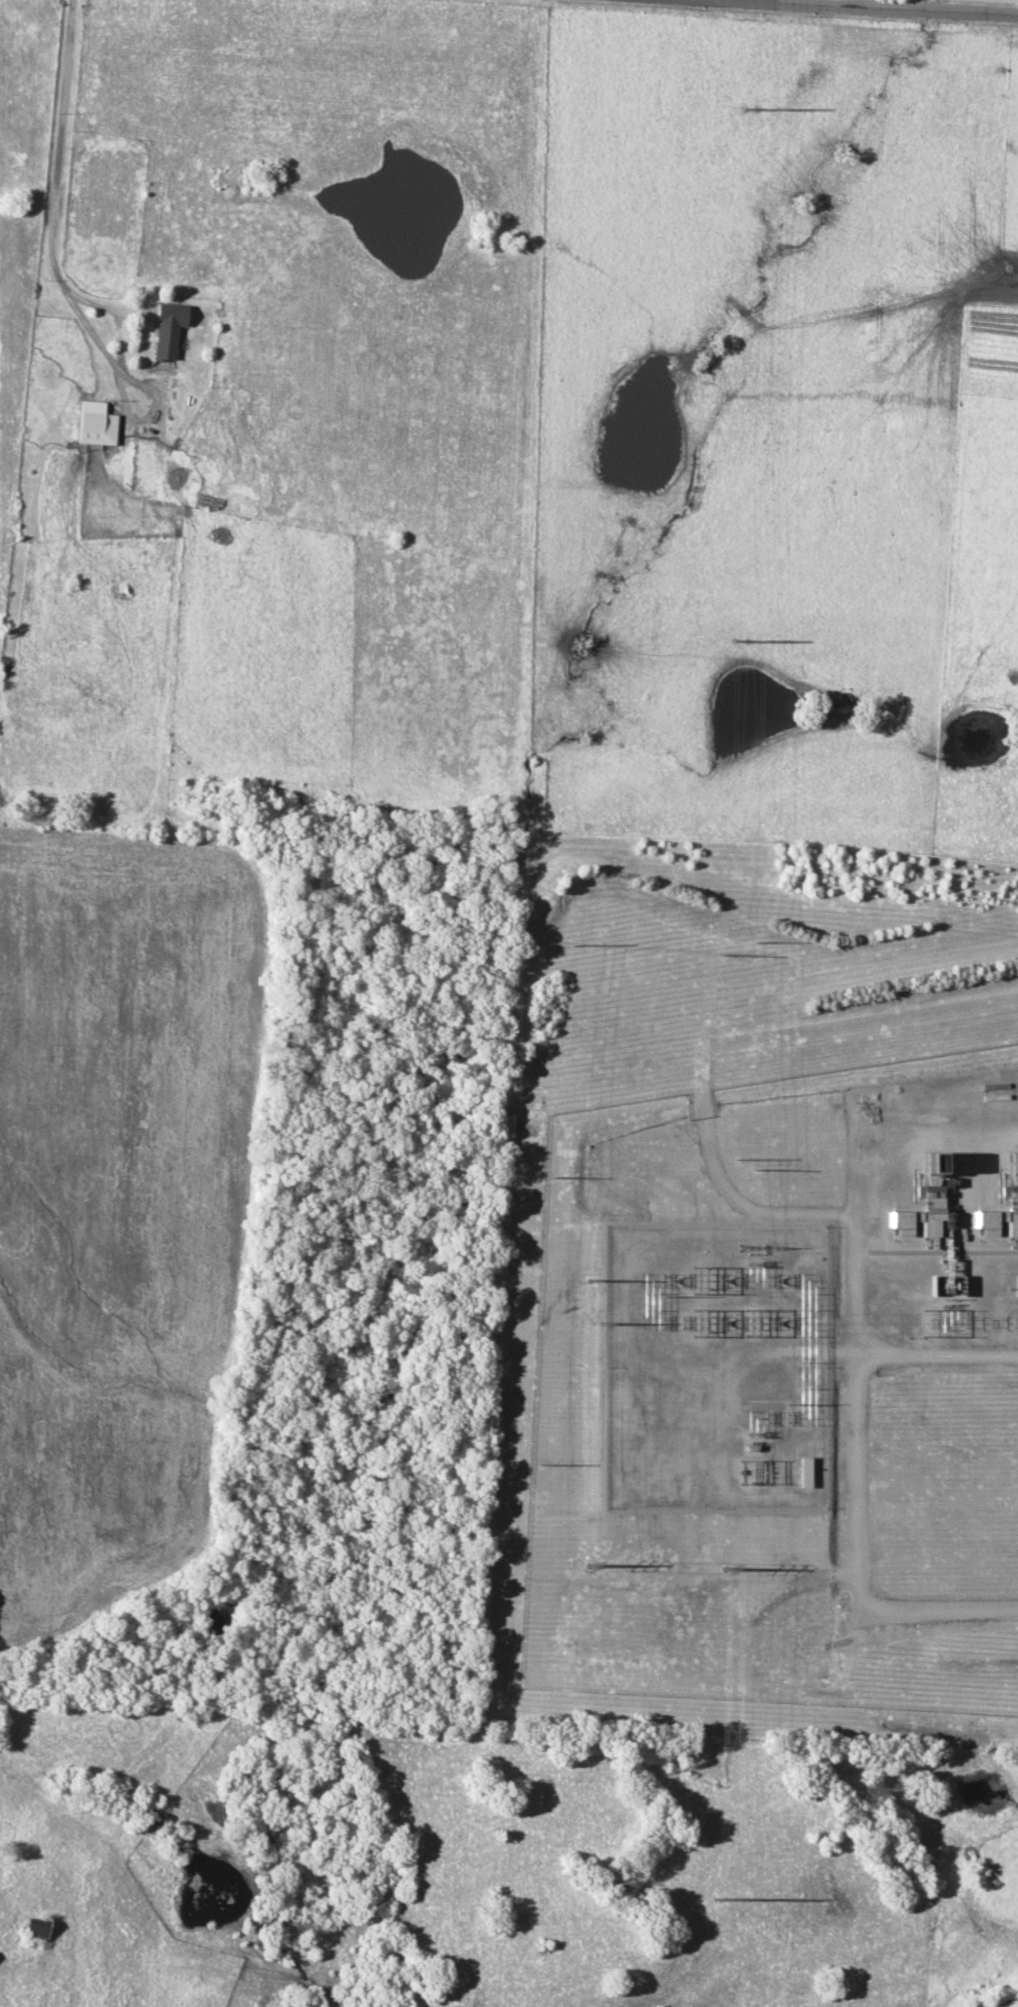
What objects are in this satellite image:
road: (704, 1)
road: (834, 4)
road: (911, 7)
road: (843, 9)
power tower: (747, 110)
road: (55, 173)
building: (165, 330)
building: (94, 424)
power tower: (739, 642)
power tower: (753, 942)
chimney: (937, 1162)
power tower: (751, 1167)
building: (932, 1180)
building: (1002, 1215)
building: (946, 1220)
power tower: (751, 1249)
power tower: (588, 1281)
power tower: (661, 1281)
power tower: (661, 1323)
power tower: (598, 1324)
power substation: (712, 1365)
power plant: (782, 1392)
building: (804, 1472)
power tower: (587, 1570)
power tower: (722, 1570)
power tower: (717, 1901)
building: (33, 1929)

